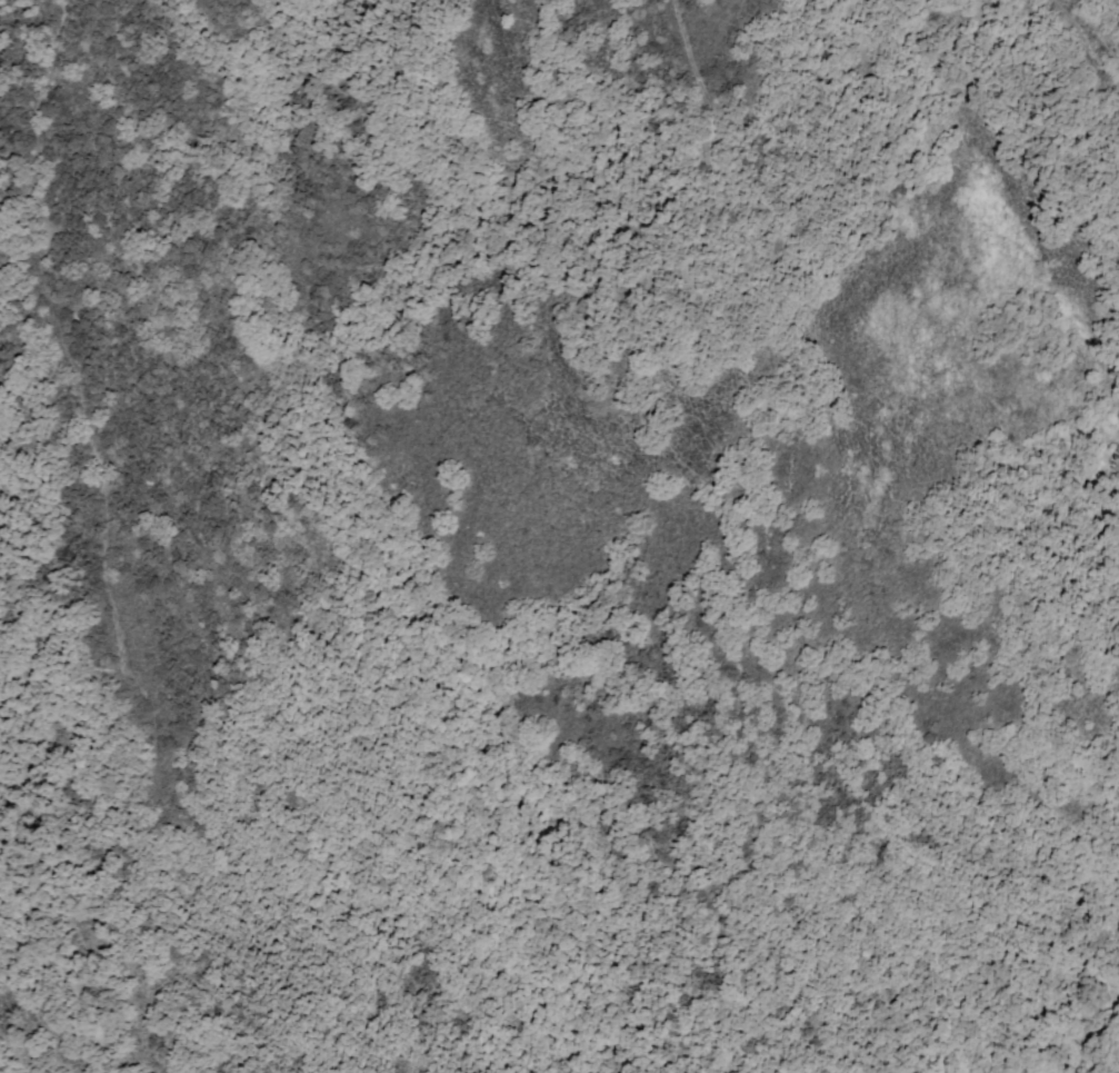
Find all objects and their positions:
road: (688, 56)

